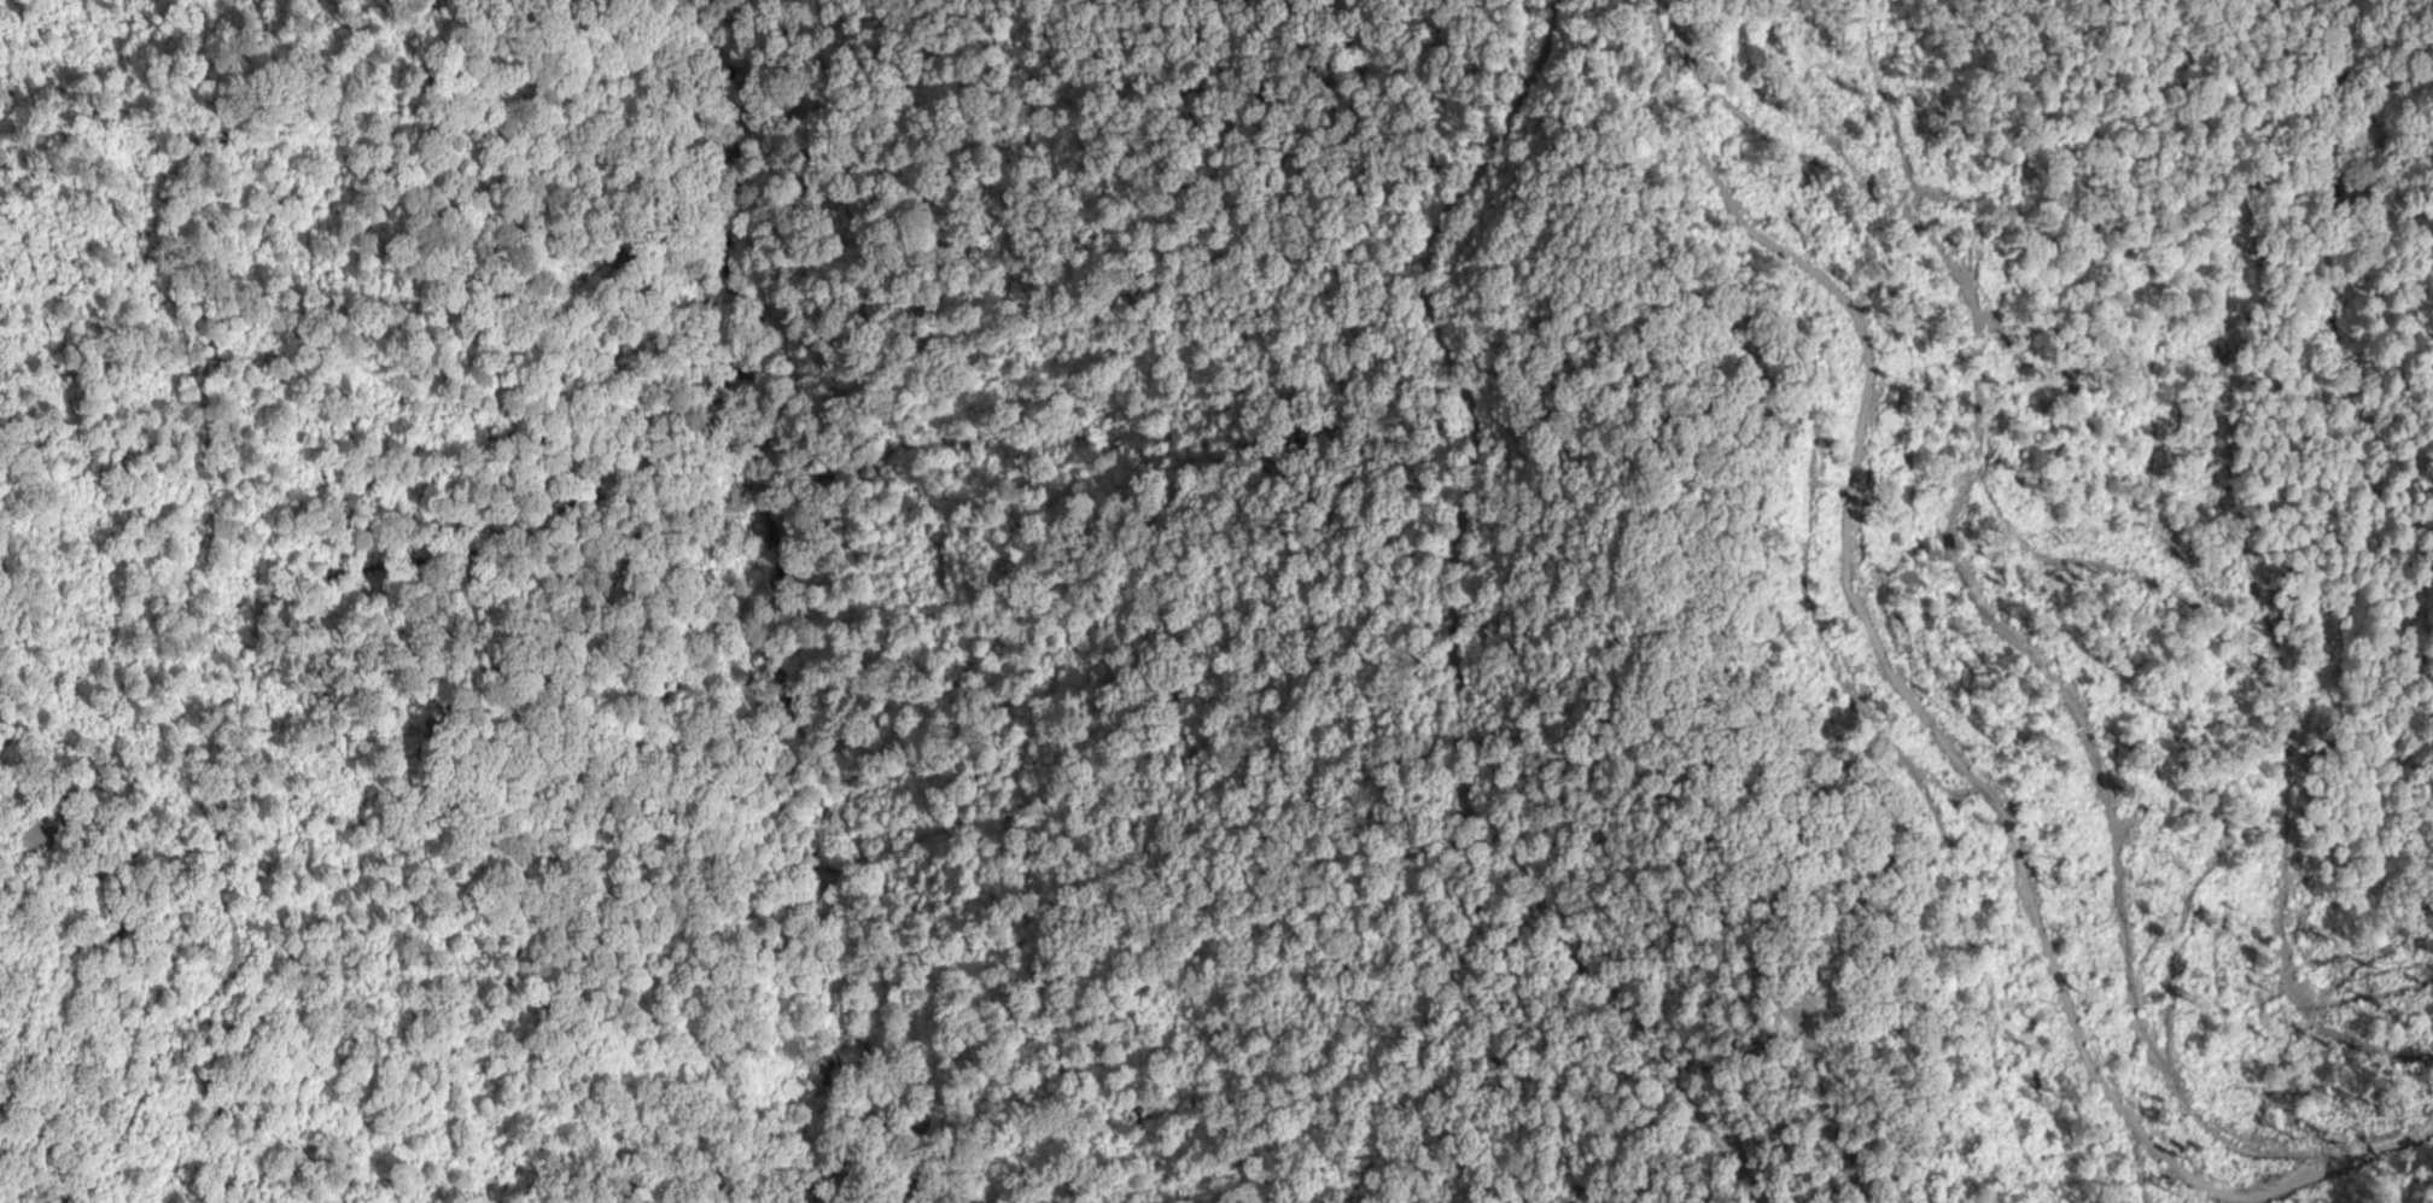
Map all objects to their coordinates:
road: (2340, 362)

